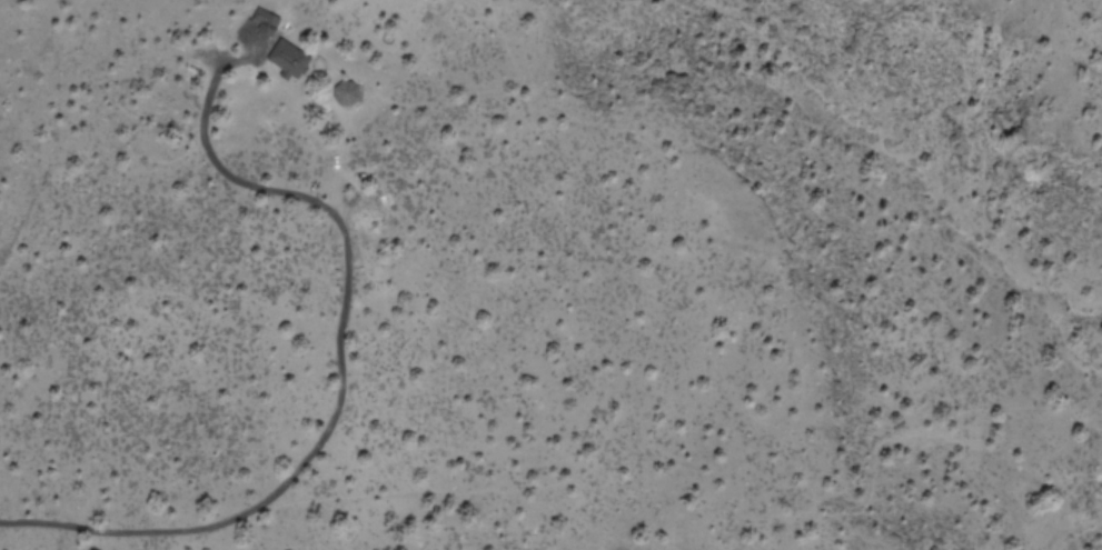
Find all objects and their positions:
building: (288, 58)
road: (338, 397)

